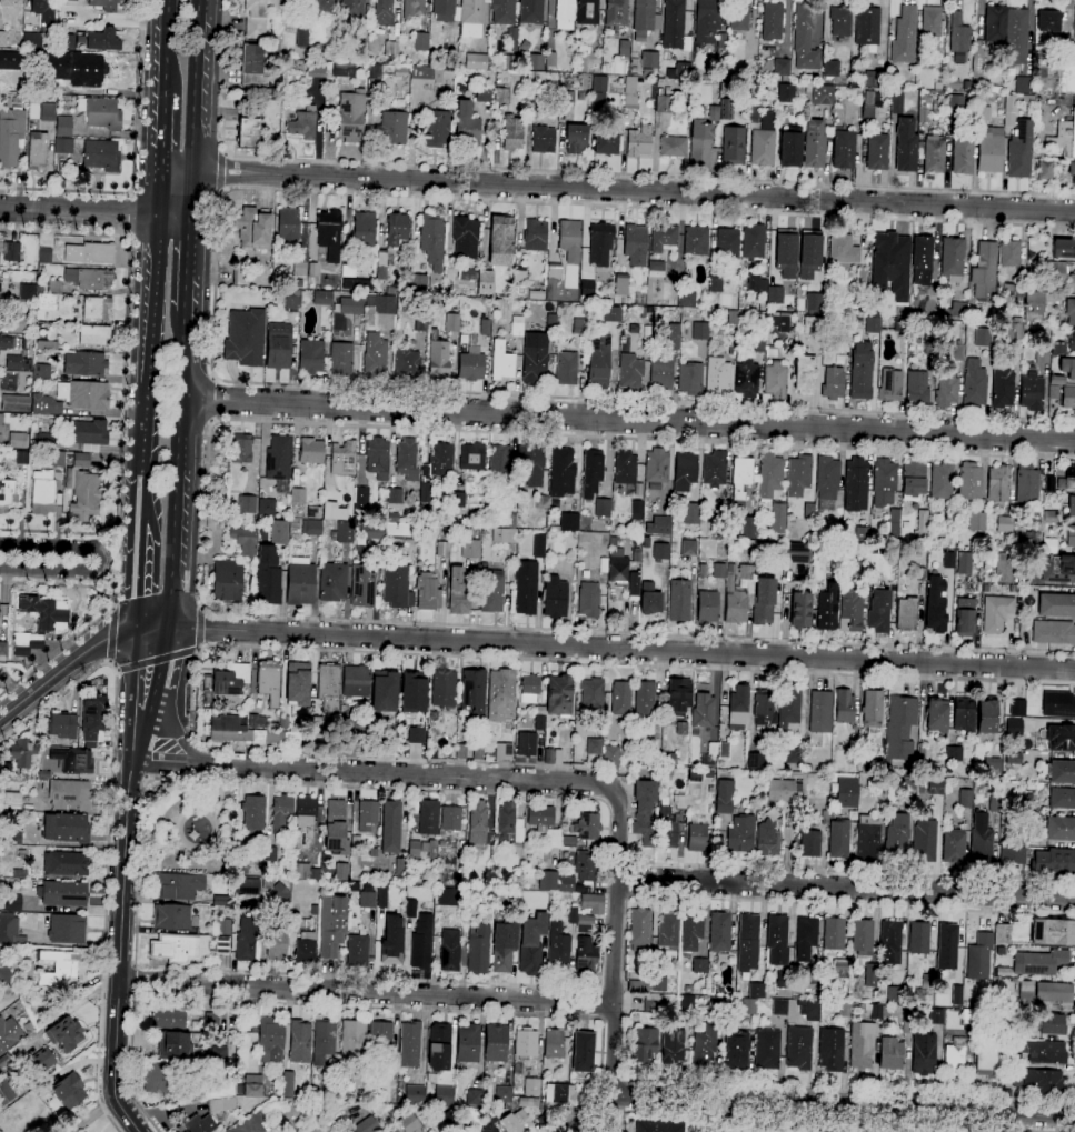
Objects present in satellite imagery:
building: (293, 1)
building: (10, 2)
building: (104, 4)
building: (322, 9)
building: (351, 9)
building: (412, 9)
building: (43, 10)
building: (444, 10)
building: (502, 11)
building: (530, 11)
building: (587, 12)
building: (384, 13)
building: (564, 13)
building: (616, 13)
building: (256, 16)
building: (739, 16)
building: (471, 18)
building: (643, 18)
building: (707, 20)
building: (1047, 20)
building: (772, 21)
building: (840, 21)
building: (929, 21)
building: (671, 23)
building: (995, 23)
building: (866, 24)
road: (163, 36)
building: (904, 36)
building: (1016, 36)
building: (302, 37)
building: (958, 37)
building: (805, 38)
building: (2, 39)
building: (31, 40)
building: (90, 41)
building: (421, 41)
building: (1064, 41)
building: (721, 43)
building: (392, 48)
building: (624, 48)
building: (324, 51)
building: (43, 57)
building: (550, 59)
building: (946, 60)
building: (476, 61)
building: (508, 61)
building: (535, 61)
building: (649, 62)
building: (251, 63)
building: (766, 66)
building: (782, 68)
building: (830, 68)
building: (316, 69)
building: (84, 70)
building: (344, 70)
building: (401, 70)
building: (683, 70)
building: (374, 71)
building: (1055, 71)
building: (429, 74)
building: (873, 78)
building: (660, 81)
building: (950, 83)
building: (1023, 84)
building: (994, 89)
building: (598, 90)
building: (630, 90)
building: (799, 90)
building: (784, 92)
building: (484, 93)
building: (501, 94)
building: (819, 94)
building: (534, 96)
building: (566, 98)
building: (664, 101)
building: (955, 101)
building: (869, 103)
building: (896, 103)
building: (1014, 106)
building: (924, 108)
road: (201, 109)
building: (725, 109)
building: (47, 112)
building: (714, 112)
building: (977, 112)
building: (100, 113)
building: (751, 113)
building: (350, 117)
road: (160, 121)
building: (301, 121)
building: (467, 126)
building: (63, 127)
building: (249, 127)
building: (392, 127)
building: (435, 128)
building: (512, 132)
building: (10, 136)
building: (1064, 137)
building: (576, 138)
building: (543, 139)
building: (606, 141)
building: (639, 141)
building: (814, 143)
building: (700, 144)
building: (734, 144)
building: (63, 146)
building: (905, 146)
building: (673, 147)
building: (763, 147)
building: (789, 149)
building: (844, 149)
building: (989, 149)
building: (37, 150)
building: (1019, 150)
building: (876, 151)
building: (933, 153)
building: (101, 154)
building: (962, 154)
road: (132, 161)
building: (1045, 169)
road: (573, 171)
building: (1072, 171)
road: (223, 172)
road: (617, 189)
road: (96, 213)
road: (130, 213)
building: (329, 222)
building: (288, 224)
building: (397, 228)
building: (253, 229)
building: (362, 229)
building: (535, 234)
building: (465, 237)
building: (663, 238)
building: (569, 239)
building: (58, 240)
building: (432, 240)
building: (696, 240)
building: (500, 241)
building: (753, 241)
building: (600, 243)
building: (635, 244)
building: (727, 244)
building: (1064, 248)
building: (843, 250)
building: (11, 251)
building: (96, 252)
building: (786, 252)
building: (1009, 252)
building: (44, 256)
building: (808, 256)
building: (952, 258)
building: (920, 261)
building: (892, 263)
road: (190, 264)
building: (381, 264)
building: (656, 266)
building: (312, 269)
building: (299, 270)
building: (984, 270)
building: (347, 271)
building: (555, 271)
building: (1054, 272)
building: (519, 273)
building: (467, 274)
building: (242, 276)
building: (419, 278)
building: (89, 279)
building: (486, 281)
building: (1072, 282)
building: (362, 284)
building: (621, 284)
building: (716, 284)
building: (757, 285)
building: (40, 287)
building: (54, 287)
building: (586, 287)
road: (215, 289)
building: (397, 290)
building: (27, 291)
building: (859, 291)
building: (1011, 292)
building: (280, 298)
building: (322, 298)
building: (292, 299)
building: (687, 299)
building: (44, 301)
building: (813, 302)
building: (381, 303)
building: (1033, 304)
building: (349, 305)
building: (96, 307)
building: (954, 310)
building: (1071, 311)
building: (610, 313)
building: (733, 317)
building: (1002, 317)
building: (420, 321)
building: (551, 321)
building: (778, 321)
building: (451, 322)
road: (155, 323)
building: (19, 324)
building: (902, 324)
building: (517, 325)
building: (873, 325)
building: (486, 327)
building: (580, 327)
building: (699, 331)
building: (1012, 331)
road: (189, 332)
building: (741, 333)
building: (94, 335)
building: (674, 337)
building: (246, 338)
building: (983, 338)
building: (1072, 341)
building: (6, 342)
building: (759, 342)
building: (46, 345)
building: (278, 345)
building: (955, 350)
building: (1042, 354)
building: (310, 357)
building: (375, 357)
building: (438, 357)
building: (535, 357)
building: (340, 358)
building: (501, 360)
building: (598, 360)
building: (838, 360)
building: (13, 362)
building: (27, 363)
building: (84, 363)
building: (406, 363)
building: (471, 364)
building: (1067, 367)
building: (566, 368)
building: (41, 371)
building: (630, 372)
road: (123, 374)
building: (860, 374)
building: (660, 375)
building: (717, 375)
building: (804, 375)
building: (690, 378)
building: (746, 379)
building: (774, 380)
building: (1056, 380)
building: (833, 383)
building: (889, 384)
building: (974, 384)
building: (1002, 387)
building: (917, 388)
building: (946, 390)
building: (1031, 392)
building: (1053, 392)
building: (83, 394)
building: (1068, 397)
road: (212, 400)
building: (16, 403)
building: (44, 405)
road: (631, 419)
building: (1, 427)
building: (89, 432)
building: (18, 440)
building: (46, 441)
building: (241, 448)
building: (311, 450)
building: (377, 454)
building: (471, 457)
building: (22, 458)
building: (279, 458)
building: (342, 458)
building: (57, 459)
building: (407, 459)
building: (81, 460)
building: (439, 461)
building: (500, 461)
building: (532, 463)
building: (657, 465)
building: (715, 469)
building: (626, 470)
building: (685, 471)
building: (561, 472)
building: (591, 472)
building: (769, 475)
building: (798, 475)
building: (1069, 477)
building: (740, 478)
building: (913, 479)
building: (827, 480)
building: (940, 481)
building: (883, 482)
building: (969, 482)
building: (1049, 483)
building: (855, 484)
building: (1026, 484)
building: (997, 485)
building: (42, 492)
building: (425, 492)
building: (7, 493)
building: (82, 493)
road: (182, 493)
building: (298, 495)
building: (395, 495)
road: (143, 498)
building: (475, 498)
building: (361, 499)
building: (458, 499)
building: (540, 502)
building: (247, 503)
building: (1071, 505)
building: (603, 507)
building: (267, 508)
building: (723, 508)
building: (636, 510)
building: (334, 511)
building: (808, 511)
building: (313, 512)
building: (691, 513)
building: (392, 517)
building: (949, 517)
building: (1051, 517)
building: (778, 518)
building: (505, 519)
road: (203, 520)
building: (568, 521)
building: (894, 521)
building: (923, 521)
building: (976, 521)
road: (130, 522)
building: (213, 522)
building: (1005, 524)
building: (659, 525)
building: (748, 527)
building: (311, 528)
building: (279, 531)
building: (371, 531)
building: (401, 531)
building: (345, 532)
building: (1068, 534)
building: (504, 535)
building: (243, 540)
road: (91, 541)
building: (637, 541)
building: (537, 544)
building: (1049, 545)
road: (54, 547)
building: (688, 548)
building: (442, 549)
building: (470, 549)
building: (660, 551)
building: (797, 553)
building: (636, 554)
road: (117, 561)
building: (964, 563)
building: (1003, 568)
building: (618, 569)
building: (1057, 569)
road: (53, 570)
building: (701, 570)
building: (718, 570)
building: (745, 571)
building: (919, 574)
road: (140, 575)
building: (268, 577)
building: (227, 581)
building: (332, 582)
building: (300, 583)
building: (634, 583)
building: (362, 585)
building: (397, 585)
building: (526, 587)
building: (427, 592)
building: (458, 592)
building: (491, 592)
building: (850, 594)
building: (555, 598)
building: (649, 599)
building: (588, 600)
building: (764, 600)
building: (679, 601)
building: (736, 602)
building: (935, 604)
building: (1056, 604)
building: (707, 607)
building: (827, 608)
building: (878, 609)
building: (799, 610)
road: (106, 612)
building: (996, 612)
building: (906, 614)
building: (963, 617)
building: (39, 622)
traffic signals: (158, 629)
road: (200, 629)
building: (1053, 632)
road: (112, 633)
road: (616, 648)
building: (3, 651)
road: (387, 653)
road: (151, 658)
road: (158, 659)
road: (72, 661)
building: (231, 680)
building: (355, 680)
building: (269, 682)
building: (298, 683)
building: (591, 687)
building: (328, 688)
building: (529, 688)
building: (444, 689)
building: (382, 690)
building: (411, 693)
building: (472, 693)
building: (500, 694)
building: (559, 695)
building: (678, 697)
building: (620, 698)
building: (644, 698)
road: (143, 699)
building: (1057, 704)
building: (738, 705)
building: (844, 707)
building: (1017, 707)
building: (870, 709)
building: (539, 710)
building: (788, 710)
building: (703, 711)
building: (764, 711)
building: (820, 711)
building: (963, 714)
building: (432, 715)
building: (936, 715)
building: (986, 718)
building: (92, 719)
building: (256, 721)
building: (283, 722)
building: (539, 722)
building: (318, 723)
building: (61, 725)
building: (1014, 727)
building: (681, 729)
building: (900, 730)
building: (258, 732)
building: (352, 732)
building: (414, 734)
road: (178, 735)
road: (137, 737)
building: (1061, 737)
building: (526, 743)
building: (594, 745)
building: (713, 749)
building: (461, 751)
building: (501, 751)
building: (478, 752)
building: (22, 753)
building: (954, 753)
building: (610, 755)
building: (794, 755)
building: (553, 757)
building: (667, 759)
building: (73, 760)
building: (708, 760)
building: (755, 760)
building: (873, 763)
building: (991, 764)
building: (824, 769)
building: (6, 770)
building: (1058, 771)
road: (374, 772)
building: (934, 785)
building: (782, 792)
building: (847, 792)
building: (69, 794)
building: (724, 797)
building: (965, 798)
building: (1062, 798)
building: (679, 800)
building: (11, 801)
building: (1026, 801)
road: (605, 804)
building: (994, 804)
building: (880, 810)
building: (306, 811)
building: (644, 811)
building: (253, 812)
building: (281, 813)
building: (367, 815)
building: (428, 818)
building: (540, 818)
building: (450, 819)
building: (415, 821)
building: (505, 821)
building: (478, 822)
building: (391, 827)
building: (587, 827)
building: (66, 828)
road: (110, 828)
park: (188, 828)
building: (667, 828)
building: (1059, 828)
building: (336, 829)
building: (740, 833)
building: (14, 834)
building: (696, 835)
building: (924, 837)
building: (838, 839)
building: (867, 839)
building: (896, 839)
building: (356, 840)
building: (766, 840)
building: (981, 840)
building: (1021, 840)
building: (567, 841)
building: (809, 843)
building: (953, 845)
building: (429, 848)
building: (415, 849)
building: (517, 850)
building: (372, 852)
building: (270, 853)
building: (1013, 854)
building: (66, 863)
road: (629, 863)
building: (1054, 863)
building: (586, 865)
building: (400, 866)
building: (305, 871)
building: (341, 871)
building: (20, 873)
road: (853, 873)
road: (629, 879)
building: (412, 880)
building: (548, 881)
building: (566, 884)
building: (178, 885)
building: (248, 886)
road: (845, 886)
building: (276, 891)
building: (63, 893)
building: (382, 896)
building: (448, 896)
building: (366, 899)
building: (222, 900)
road: (760, 900)
building: (11, 903)
building: (593, 903)
building: (410, 909)
building: (313, 910)
building: (171, 916)
building: (585, 920)
building: (305, 923)
building: (331, 925)
building: (511, 925)
building: (223, 926)
building: (8, 928)
building: (67, 929)
building: (639, 929)
building: (668, 931)
building: (691, 931)
building: (719, 932)
building: (1053, 932)
building: (833, 933)
building: (1002, 934)
building: (862, 936)
building: (805, 938)
building: (918, 938)
building: (247, 940)
building: (776, 940)
building: (391, 941)
building: (889, 941)
building: (421, 942)
road: (614, 942)
building: (747, 942)
building: (531, 943)
building: (277, 944)
building: (221, 945)
building: (946, 946)
building: (179, 948)
building: (305, 948)
building: (478, 949)
building: (557, 949)
building: (357, 950)
road: (120, 951)
building: (449, 951)
building: (1001, 951)
building: (586, 954)
building: (979, 956)
building: (501, 959)
building: (1039, 962)
road: (119, 963)
building: (699, 965)
building: (59, 968)
building: (839, 969)
building: (1004, 972)
building: (813, 973)
building: (870, 974)
building: (4, 975)
building: (784, 980)
road: (135, 981)
building: (926, 982)
building: (658, 983)
building: (638, 985)
building: (687, 989)
building: (756, 990)
road: (366, 992)
building: (1026, 993)
building: (1054, 993)
road: (118, 996)
building: (892, 998)
building: (686, 1002)
building: (718, 1002)
road: (597, 1003)
building: (651, 1003)
building: (748, 1005)
building: (779, 1006)
road: (369, 1008)
building: (844, 1009)
building: (809, 1010)
building: (873, 1010)
building: (935, 1016)
building: (968, 1016)
building: (168, 1018)
building: (999, 1018)
building: (210, 1021)
building: (1052, 1023)
building: (907, 1024)
building: (28, 1028)
building: (1013, 1033)
building: (9, 1034)
building: (66, 1034)
building: (271, 1038)
building: (380, 1038)
building: (352, 1039)
building: (322, 1041)
building: (300, 1042)
building: (526, 1042)
building: (173, 1043)
building: (468, 1043)
building: (496, 1043)
building: (645, 1043)
building: (409, 1044)
building: (554, 1044)
building: (860, 1044)
building: (671, 1045)
building: (704, 1045)
building: (439, 1046)
building: (798, 1048)
building: (735, 1049)
building: (767, 1049)
building: (830, 1049)
building: (1044, 1051)
building: (581, 1052)
building: (219, 1053)
building: (890, 1053)
building: (923, 1053)
building: (954, 1060)
building: (3, 1061)
building: (41, 1061)
building: (1012, 1061)
building: (987, 1063)
building: (157, 1078)
building: (358, 1079)
building: (1038, 1080)
building: (288, 1083)
building: (252, 1085)
building: (531, 1086)
building: (207, 1090)
building: (69, 1091)
road: (848, 1091)
building: (4, 1092)
building: (415, 1094)
building: (504, 1094)
building: (444, 1095)
building: (557, 1095)
building: (475, 1096)
building: (187, 1098)
building: (528, 1101)
building: (221, 1104)
road: (812, 1104)
building: (269, 1106)
road: (647, 1112)
road: (716, 1115)
building: (487, 1120)
building: (409, 1122)
building: (515, 1122)
road: (731, 1123)
road: (895, 1123)
building: (197, 1124)
building: (365, 1125)
building: (658, 1125)
building: (86, 1131)

